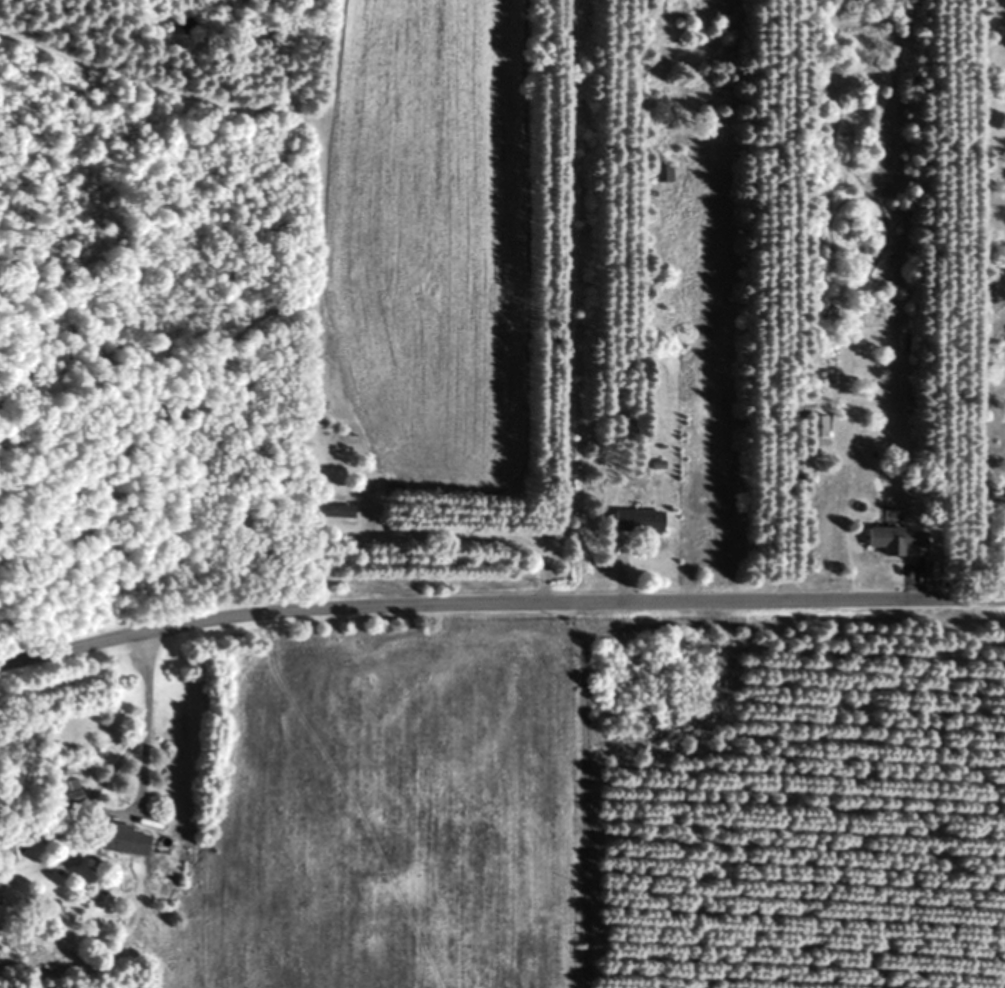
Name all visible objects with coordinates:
building: (659, 171)
building: (813, 427)
building: (337, 512)
building: (634, 521)
building: (892, 541)
road: (499, 602)
road: (141, 723)
building: (117, 838)

